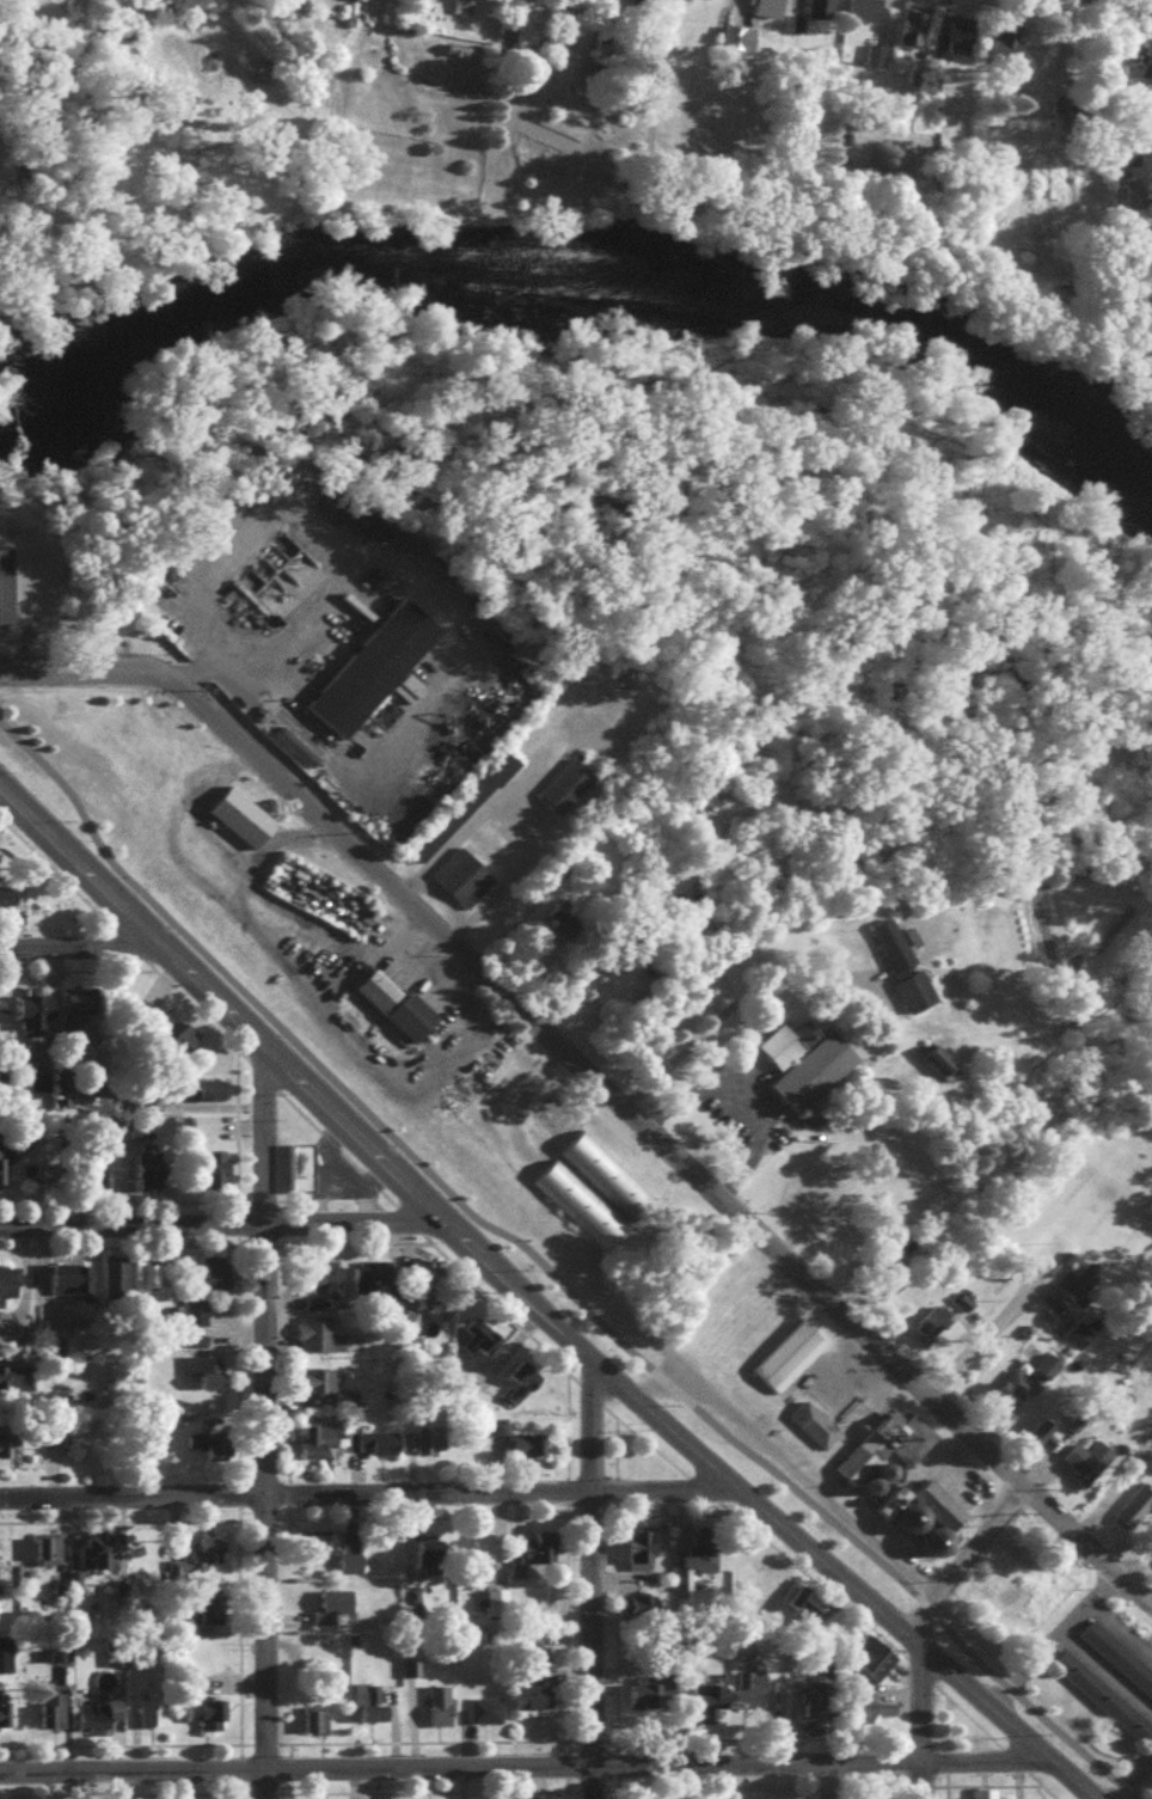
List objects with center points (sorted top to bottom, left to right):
road: (1132, 2)
building: (676, 4)
building: (465, 11)
building: (770, 12)
building: (822, 14)
building: (866, 14)
building: (915, 36)
building: (957, 44)
building: (742, 45)
building: (1007, 49)
building: (1055, 78)
building: (1132, 161)
river: (571, 279)
building: (4, 586)
road: (23, 598)
road: (300, 610)
road: (442, 618)
road: (12, 624)
building: (367, 666)
road: (197, 669)
building: (403, 686)
building: (289, 745)
building: (562, 778)
building: (456, 801)
building: (465, 813)
building: (234, 814)
road: (458, 824)
road: (295, 836)
road: (253, 856)
building: (570, 863)
road: (513, 865)
road: (51, 871)
building: (455, 874)
building: (8, 904)
building: (551, 918)
building: (568, 937)
road: (121, 941)
road: (75, 946)
road: (364, 948)
road: (541, 950)
building: (895, 960)
road: (341, 972)
road: (75, 973)
road: (310, 991)
building: (390, 1004)
road: (719, 1008)
road: (192, 1011)
building: (6, 1017)
building: (82, 1017)
building: (38, 1021)
building: (184, 1045)
building: (801, 1059)
building: (933, 1060)
road: (578, 1069)
building: (4, 1078)
road: (259, 1078)
road: (754, 1096)
road: (513, 1106)
road: (541, 1112)
building: (204, 1132)
building: (142, 1138)
road: (333, 1151)
building: (6, 1157)
building: (601, 1174)
building: (302, 1175)
building: (151, 1176)
building: (219, 1177)
building: (106, 1180)
building: (796, 1191)
building: (804, 1201)
building: (576, 1203)
road: (220, 1226)
road: (550, 1277)
building: (149, 1281)
building: (215, 1283)
building: (374, 1284)
building: (116, 1285)
building: (72, 1286)
building: (331, 1286)
building: (424, 1287)
building: (11, 1289)
road: (511, 1292)
building: (1084, 1292)
building: (197, 1321)
building: (937, 1332)
road: (991, 1334)
building: (1066, 1335)
building: (320, 1344)
building: (195, 1347)
building: (782, 1352)
building: (203, 1372)
building: (1050, 1373)
building: (422, 1377)
building: (18, 1384)
building: (319, 1389)
building: (522, 1390)
building: (1009, 1403)
building: (807, 1420)
road: (262, 1425)
building: (897, 1431)
building: (319, 1448)
building: (433, 1448)
building: (522, 1448)
road: (931, 1450)
building: (375, 1451)
building: (11, 1452)
building: (858, 1452)
road: (932, 1457)
building: (219, 1462)
building: (881, 1462)
silo: (881, 1462)
road: (783, 1463)
building: (1083, 1471)
building: (893, 1473)
silo: (893, 1473)
building: (868, 1477)
silo: (868, 1477)
road: (966, 1481)
building: (878, 1489)
silo: (878, 1489)
road: (370, 1497)
building: (891, 1497)
building: (938, 1499)
building: (907, 1515)
silo: (907, 1515)
building: (1134, 1522)
building: (932, 1538)
silo: (932, 1538)
building: (643, 1553)
building: (543, 1554)
building: (48, 1556)
building: (102, 1559)
road: (954, 1559)
building: (704, 1560)
road: (1133, 1560)
building: (201, 1565)
building: (351, 1571)
road: (592, 1583)
road: (1133, 1589)
road: (1083, 1603)
building: (415, 1605)
building: (337, 1614)
building: (648, 1614)
road: (1119, 1630)
building: (1115, 1657)
building: (116, 1660)
building: (7, 1662)
building: (876, 1663)
road: (1017, 1666)
road: (1102, 1673)
building: (756, 1695)
building: (1098, 1695)
building: (654, 1701)
road: (918, 1701)
building: (534, 1703)
building: (712, 1705)
building: (820, 1707)
building: (370, 1713)
building: (441, 1713)
building: (5, 1714)
building: (54, 1717)
building: (877, 1717)
building: (488, 1718)
building: (152, 1719)
building: (208, 1719)
building: (96, 1722)
building: (317, 1725)
road: (1011, 1763)
road: (461, 1769)
road: (1127, 1770)
road: (923, 1781)
building: (984, 1798)

